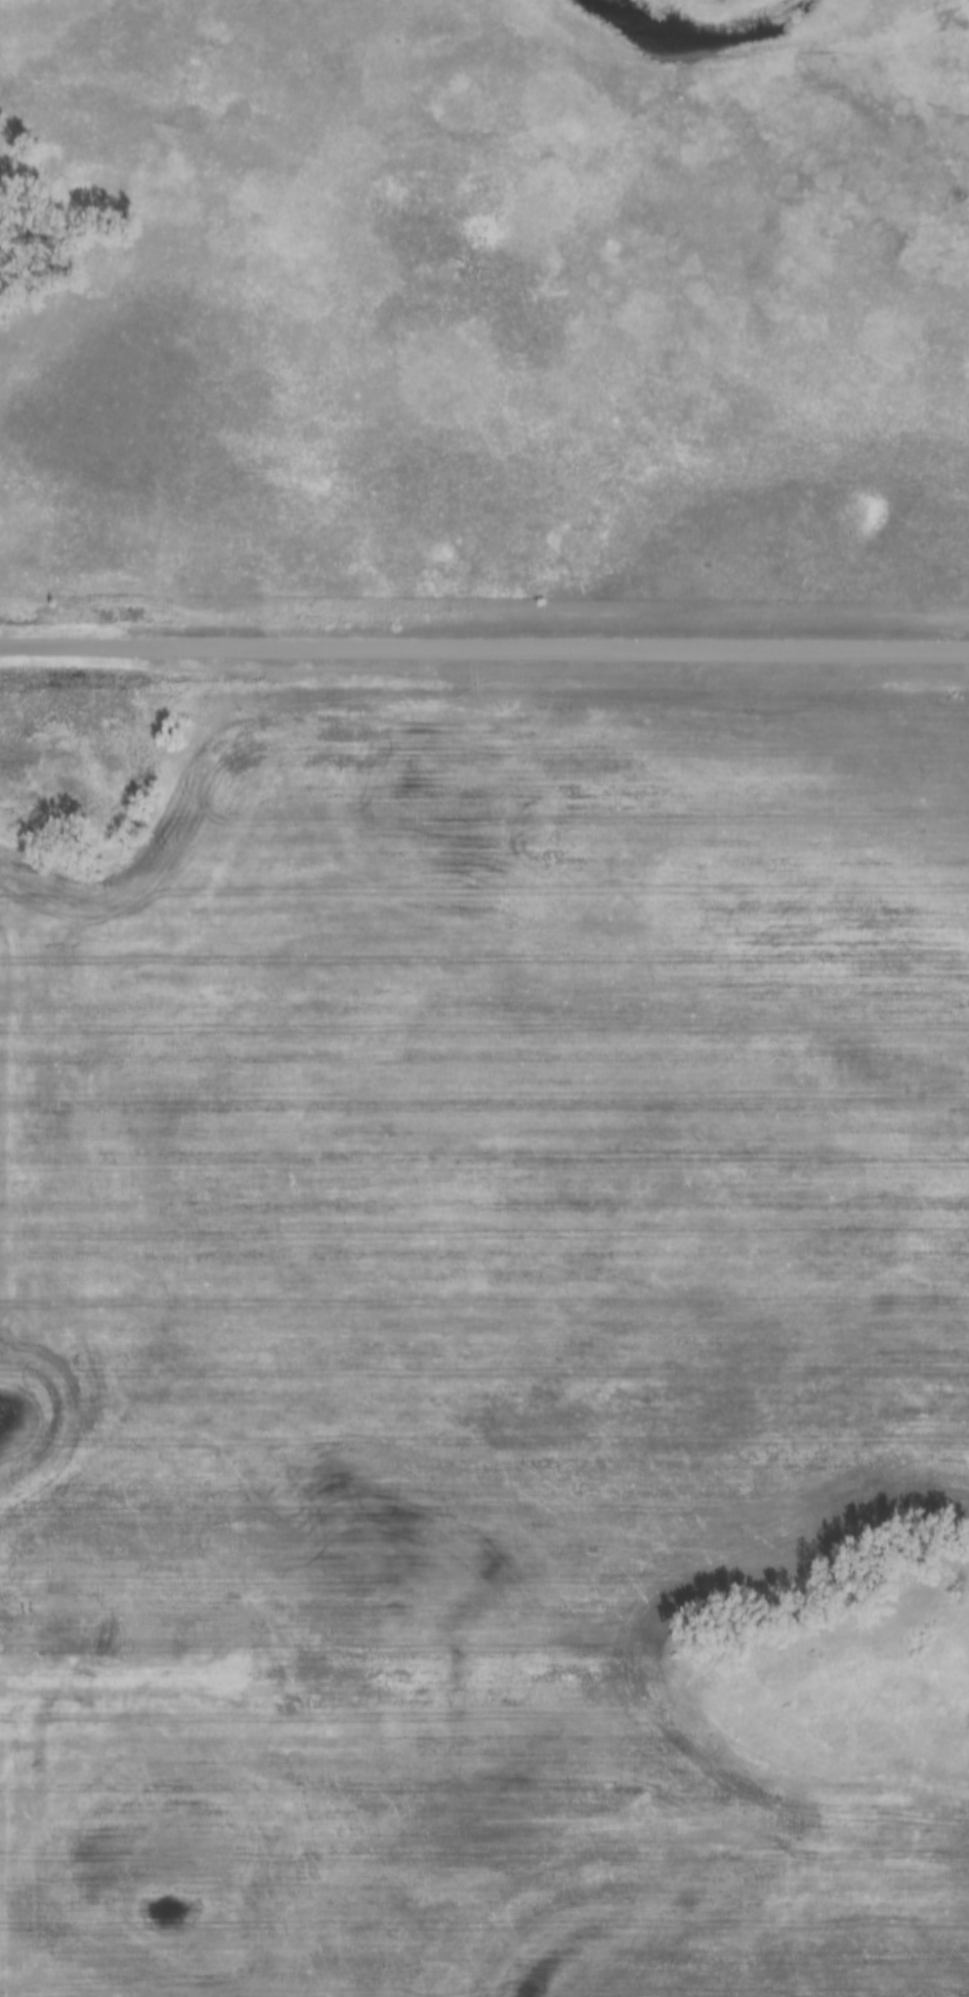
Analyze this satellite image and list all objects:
road: (484, 647)

